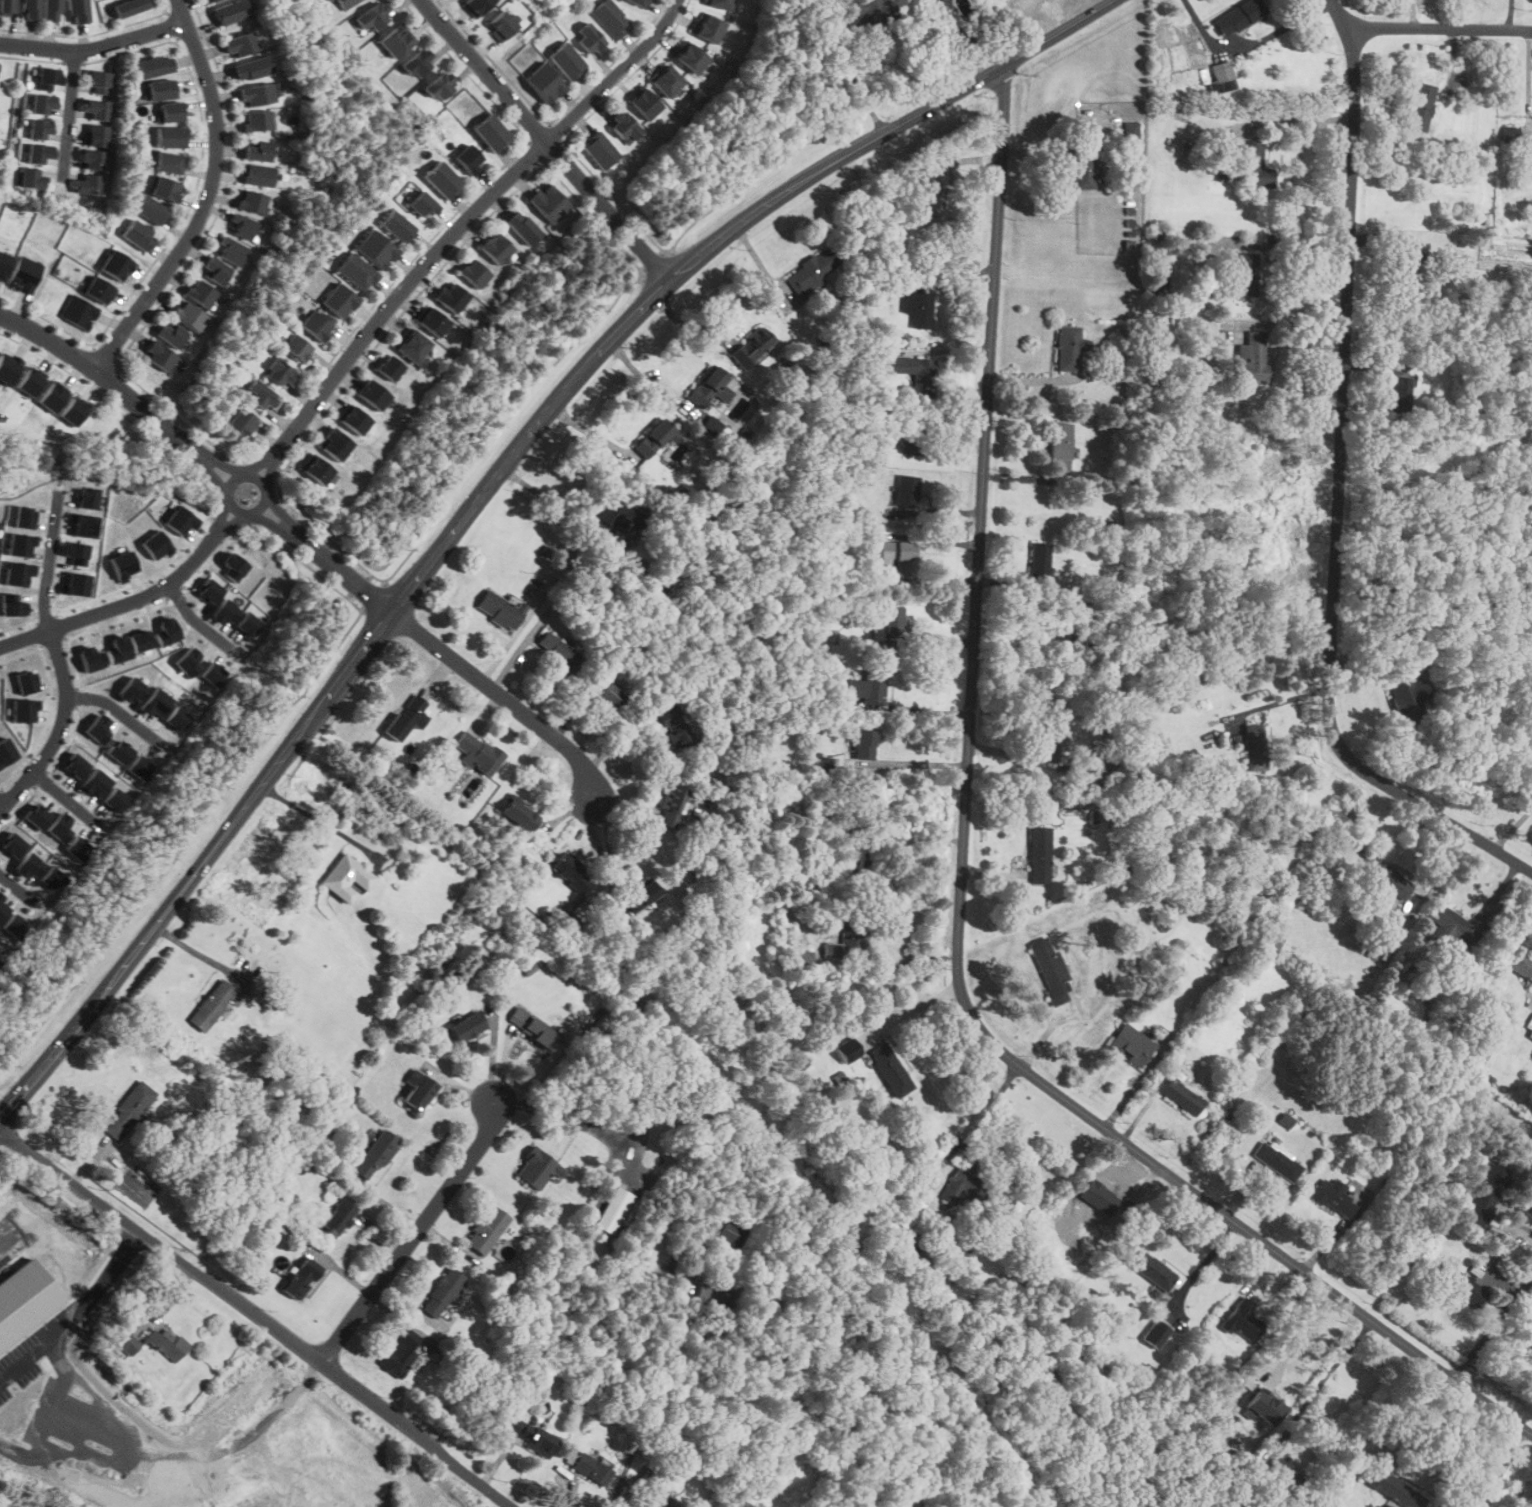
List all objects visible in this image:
building: (209, 0)
building: (212, 0)
building: (957, 1)
building: (637, 2)
building: (344, 3)
building: (719, 3)
building: (7, 6)
building: (474, 6)
building: (127, 7)
building: (30, 10)
building: (51, 10)
building: (77, 10)
building: (230, 12)
building: (871, 14)
building: (1237, 17)
building: (372, 18)
building: (609, 18)
building: (499, 24)
building: (707, 27)
road: (1439, 28)
road: (960, 38)
building: (589, 40)
building: (395, 41)
building: (239, 45)
road: (94, 48)
building: (692, 59)
building: (565, 61)
building: (416, 64)
building: (151, 66)
building: (250, 68)
road: (847, 68)
building: (1221, 71)
building: (47, 79)
building: (665, 80)
building: (96, 82)
building: (541, 83)
building: (438, 86)
building: (160, 90)
building: (255, 95)
building: (645, 103)
building: (43, 104)
building: (1420, 105)
building: (96, 109)
building: (170, 112)
road: (68, 113)
road: (1300, 119)
building: (257, 120)
building: (624, 126)
building: (38, 129)
building: (1131, 130)
building: (488, 133)
building: (1508, 133)
building: (96, 136)
building: (170, 138)
road: (545, 143)
building: (598, 150)
building: (256, 151)
building: (37, 153)
building: (466, 158)
building: (91, 159)
building: (1083, 162)
building: (168, 163)
building: (1255, 165)
building: (256, 175)
building: (31, 178)
building: (440, 179)
building: (85, 184)
building: (164, 189)
building: (930, 192)
road: (206, 198)
building: (252, 201)
building: (548, 203)
building: (422, 206)
building: (149, 210)
road: (466, 217)
building: (396, 227)
building: (521, 227)
building: (240, 228)
building: (137, 235)
road: (1295, 246)
building: (1405, 246)
building: (230, 250)
building: (375, 250)
building: (497, 250)
building: (4, 264)
building: (115, 265)
building: (811, 270)
building: (214, 271)
building: (355, 272)
building: (25, 273)
building: (1245, 273)
building: (473, 274)
building: (100, 291)
building: (199, 292)
building: (450, 297)
building: (339, 300)
building: (917, 306)
building: (80, 313)
building: (188, 314)
building: (430, 322)
road: (1298, 324)
building: (317, 325)
road: (684, 326)
road: (628, 328)
building: (170, 333)
building: (412, 346)
building: (751, 346)
building: (296, 347)
building: (1067, 348)
building: (157, 354)
building: (1251, 356)
building: (8, 367)
building: (388, 367)
building: (279, 371)
building: (915, 372)
road: (107, 380)
building: (30, 381)
building: (709, 386)
building: (374, 393)
building: (1399, 393)
building: (260, 394)
building: (51, 396)
building: (72, 411)
building: (354, 420)
building: (241, 421)
building: (652, 437)
building: (912, 437)
building: (335, 444)
building: (1060, 445)
road: (225, 462)
road: (260, 463)
road: (270, 469)
building: (316, 470)
road: (214, 477)
road: (1338, 489)
building: (906, 490)
building: (87, 498)
road: (257, 506)
road: (279, 511)
building: (613, 513)
road: (224, 515)
building: (23, 517)
building: (180, 519)
road: (272, 519)
road: (234, 521)
building: (84, 525)
building: (19, 543)
building: (156, 544)
building: (897, 551)
building: (75, 552)
road: (48, 559)
building: (1038, 560)
building: (121, 564)
building: (234, 565)
building: (16, 573)
building: (76, 583)
building: (209, 590)
building: (12, 603)
road: (118, 606)
building: (500, 609)
building: (224, 611)
road: (195, 617)
building: (890, 620)
building: (249, 624)
building: (168, 631)
building: (140, 640)
building: (116, 648)
building: (559, 651)
building: (90, 658)
building: (189, 660)
road: (451, 661)
building: (213, 673)
building: (26, 681)
building: (869, 686)
building: (131, 689)
building: (609, 695)
road: (1283, 698)
building: (1407, 698)
building: (155, 702)
road: (117, 708)
building: (23, 709)
building: (406, 717)
building: (177, 719)
building: (673, 726)
building: (98, 728)
road: (59, 729)
building: (1048, 739)
building: (863, 744)
building: (1253, 748)
building: (119, 750)
building: (6, 751)
building: (477, 752)
road: (912, 762)
building: (75, 764)
building: (140, 767)
building: (1100, 767)
building: (94, 783)
road: (67, 796)
building: (116, 800)
building: (671, 805)
road: (1, 806)
building: (36, 815)
building: (519, 815)
road: (320, 821)
building: (60, 827)
building: (13, 844)
building: (78, 848)
road: (208, 855)
building: (1039, 855)
building: (855, 857)
road: (609, 858)
building: (29, 864)
building: (570, 872)
building: (54, 878)
building: (346, 878)
building: (1387, 879)
road: (18, 886)
road: (960, 892)
building: (640, 895)
building: (3, 908)
building: (16, 926)
building: (1450, 927)
building: (847, 941)
building: (1271, 942)
road: (195, 951)
building: (801, 959)
building: (0, 962)
road: (904, 963)
building: (1520, 964)
building: (1050, 971)
building: (211, 1006)
road: (917, 1008)
road: (79, 1023)
building: (465, 1027)
building: (532, 1027)
building: (1530, 1035)
building: (1131, 1045)
road: (492, 1055)
building: (889, 1069)
building: (417, 1090)
building: (1181, 1097)
building: (127, 1110)
road: (971, 1135)
building: (375, 1155)
building: (1277, 1160)
building: (536, 1169)
building: (974, 1193)
building: (1099, 1197)
building: (1333, 1197)
building: (613, 1210)
building: (905, 1211)
building: (338, 1217)
building: (486, 1230)
building: (731, 1233)
road: (414, 1235)
road: (1202, 1266)
building: (1152, 1271)
building: (300, 1278)
building: (1460, 1285)
building: (441, 1292)
building: (712, 1296)
building: (25, 1300)
road: (258, 1316)
building: (1243, 1319)
road: (1487, 1329)
building: (1155, 1333)
building: (126, 1342)
building: (167, 1344)
building: (399, 1353)
road: (1501, 1355)
road: (1321, 1382)
road: (649, 1393)
building: (1265, 1406)
building: (529, 1435)
road: (178, 1451)
road: (1478, 1465)
road: (1503, 1467)
building: (591, 1469)
building: (1284, 1475)
building: (1391, 1485)
building: (651, 1501)

